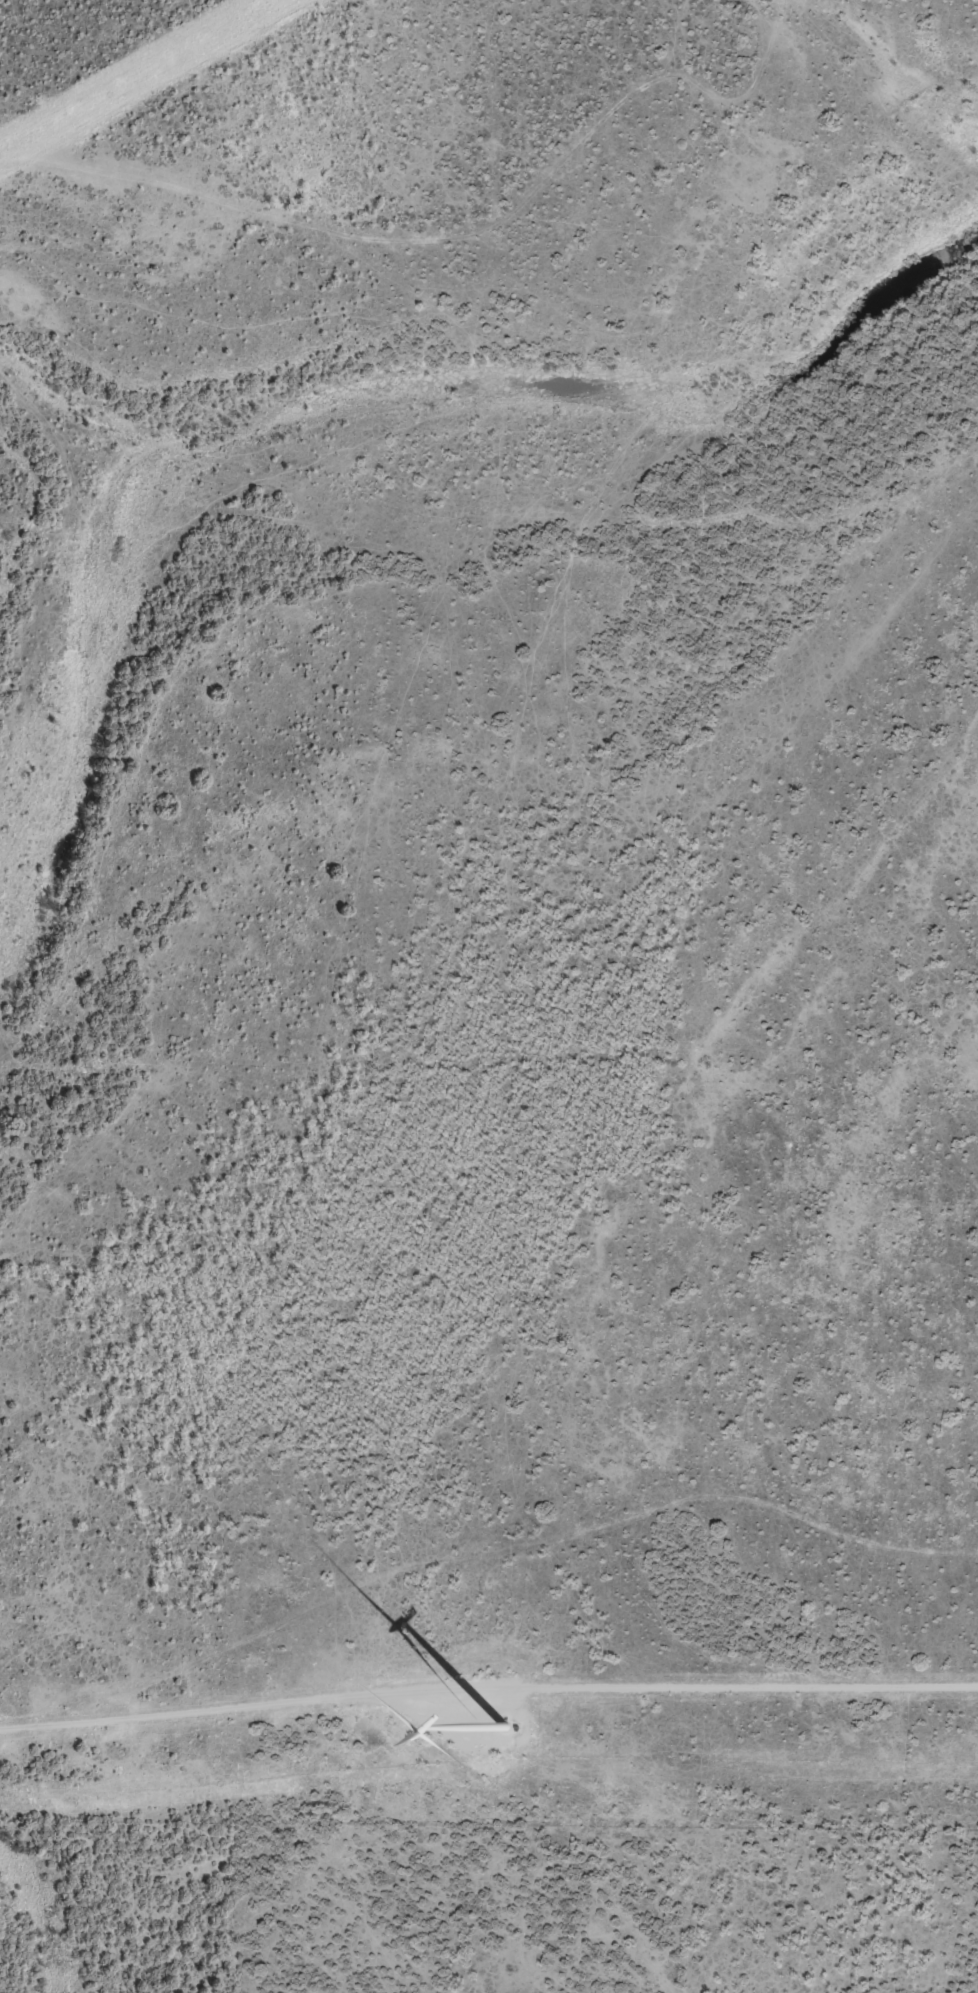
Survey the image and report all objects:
wind turbine: (490, 1727)

